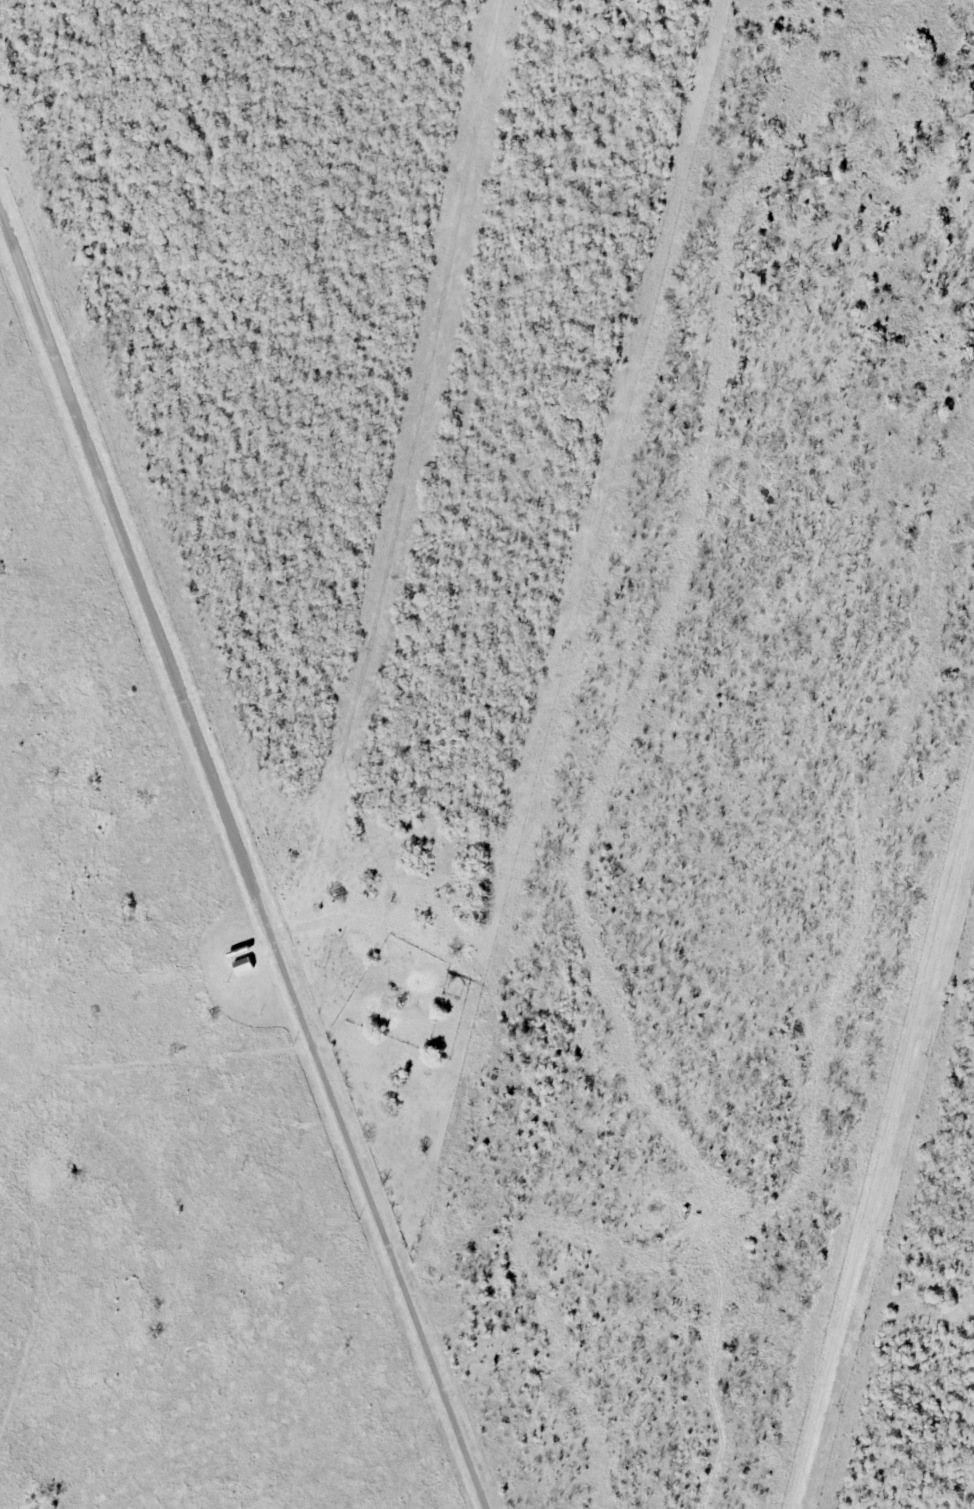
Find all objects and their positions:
road: (243, 853)
building: (245, 962)

